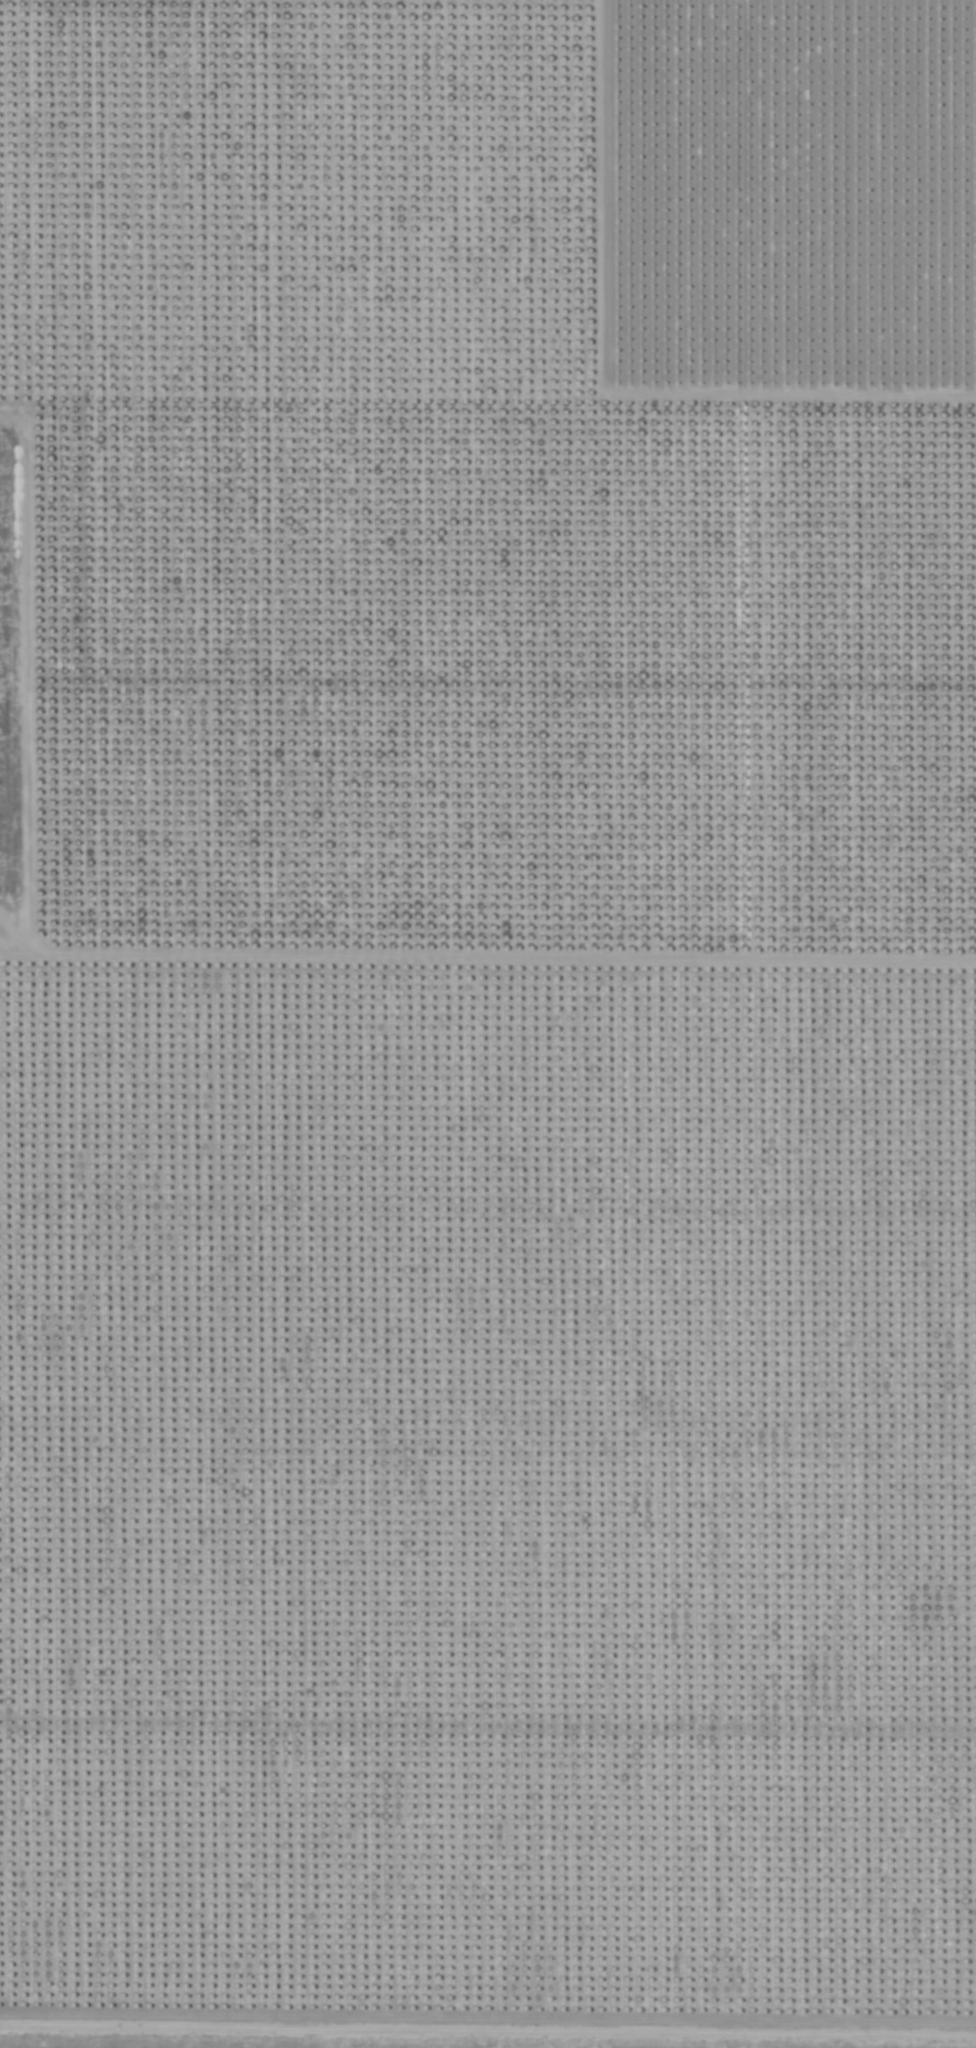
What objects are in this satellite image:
crop: (487, 1023)

